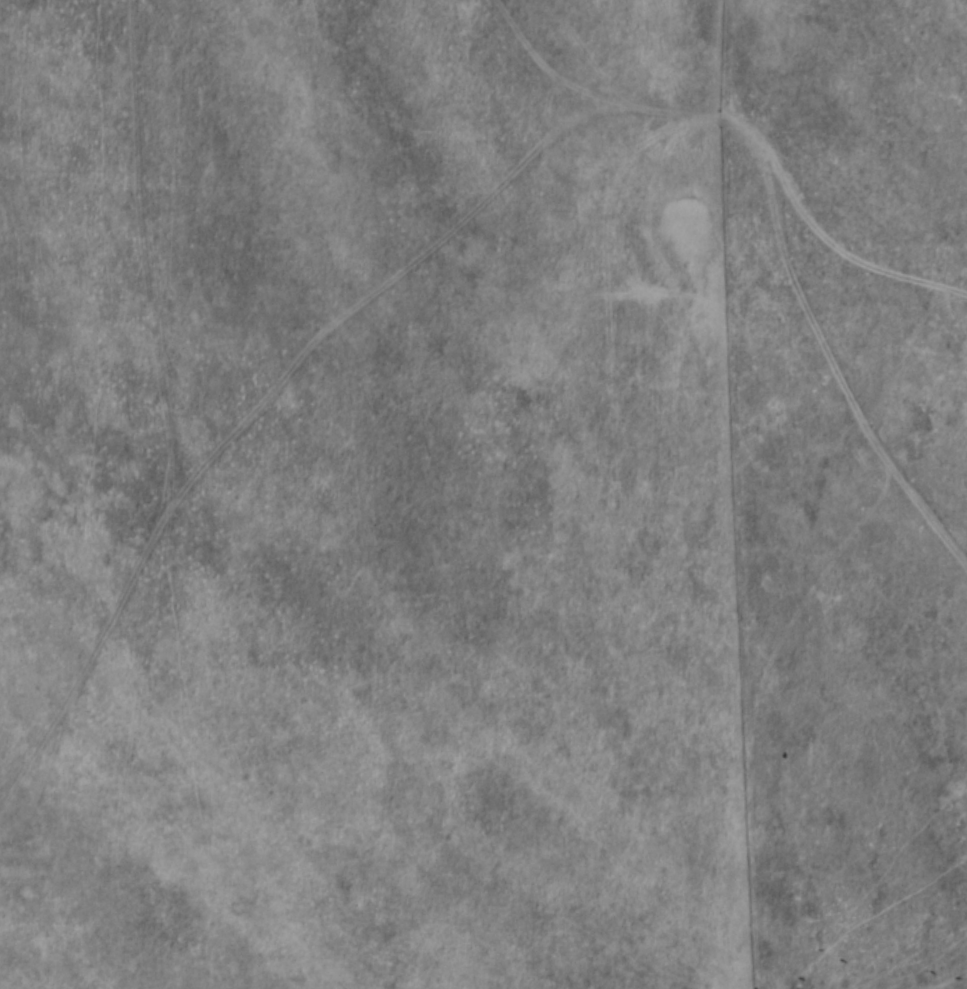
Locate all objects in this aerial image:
road: (735, 264)
road: (150, 494)

